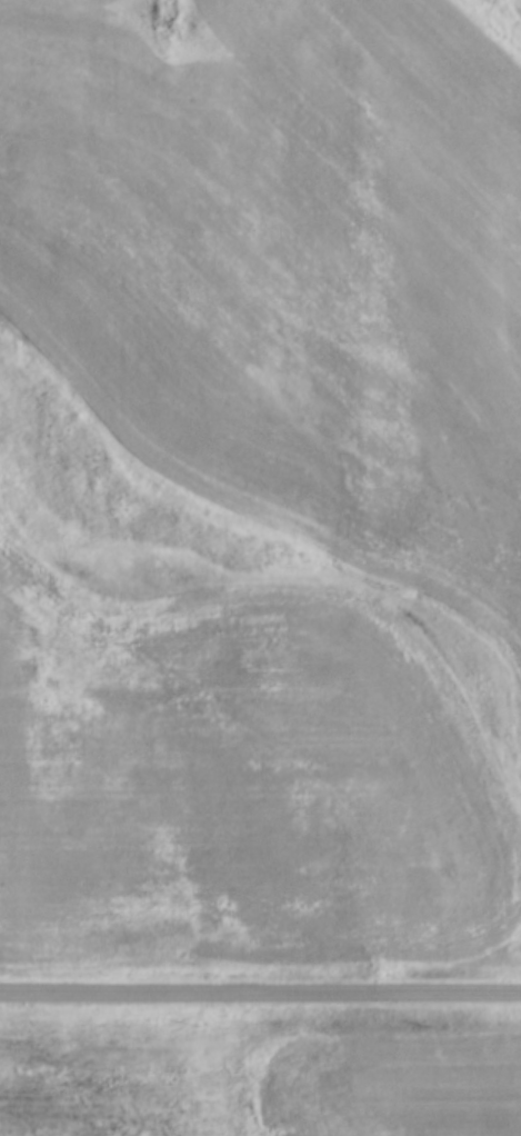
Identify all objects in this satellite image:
road: (260, 993)

